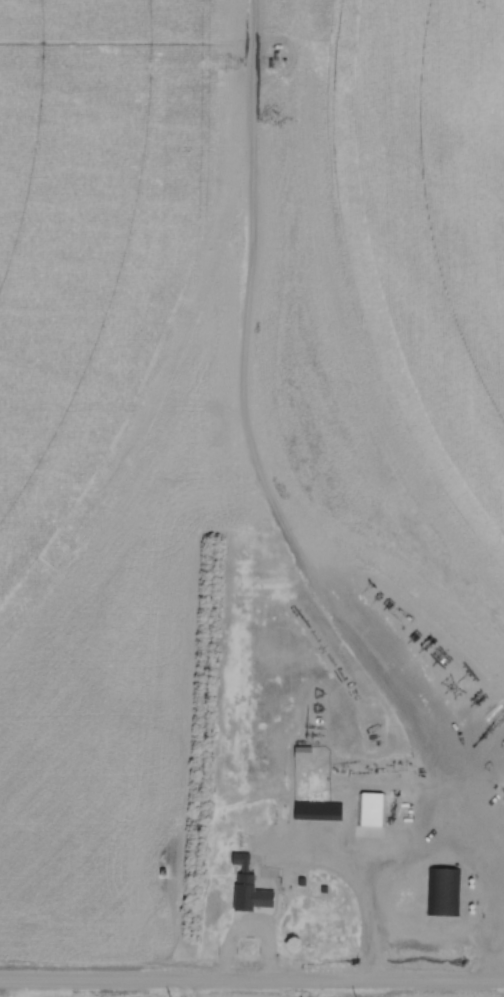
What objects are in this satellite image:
crop: (229, 390)
building: (302, 752)
building: (371, 807)
road: (471, 808)
building: (319, 811)
road: (376, 848)
building: (388, 869)
silo: (388, 869)
building: (302, 880)
building: (249, 886)
building: (325, 889)
building: (444, 891)
building: (389, 912)
silo: (389, 912)
building: (404, 913)
silo: (404, 913)
road: (375, 914)
building: (416, 923)
silo: (416, 923)
road: (251, 924)
road: (252, 978)
crop: (329, 996)

